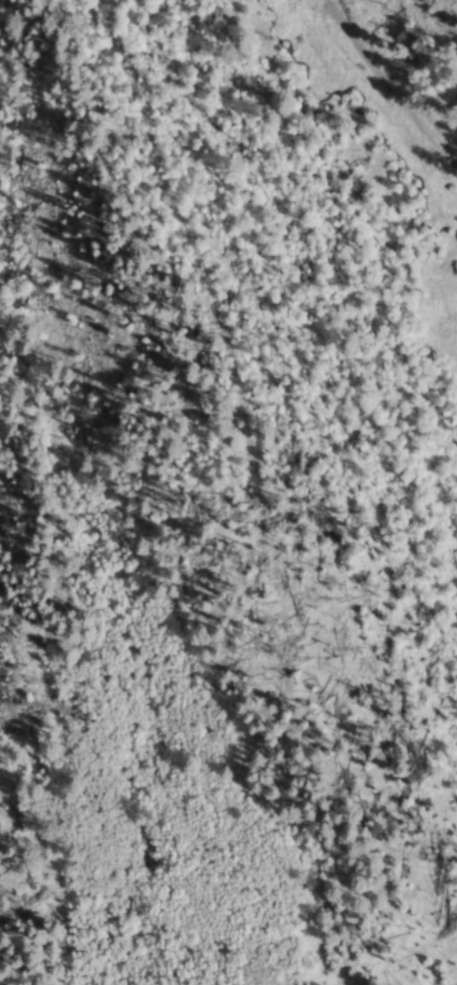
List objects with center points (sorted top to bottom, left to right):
road: (390, 84)

